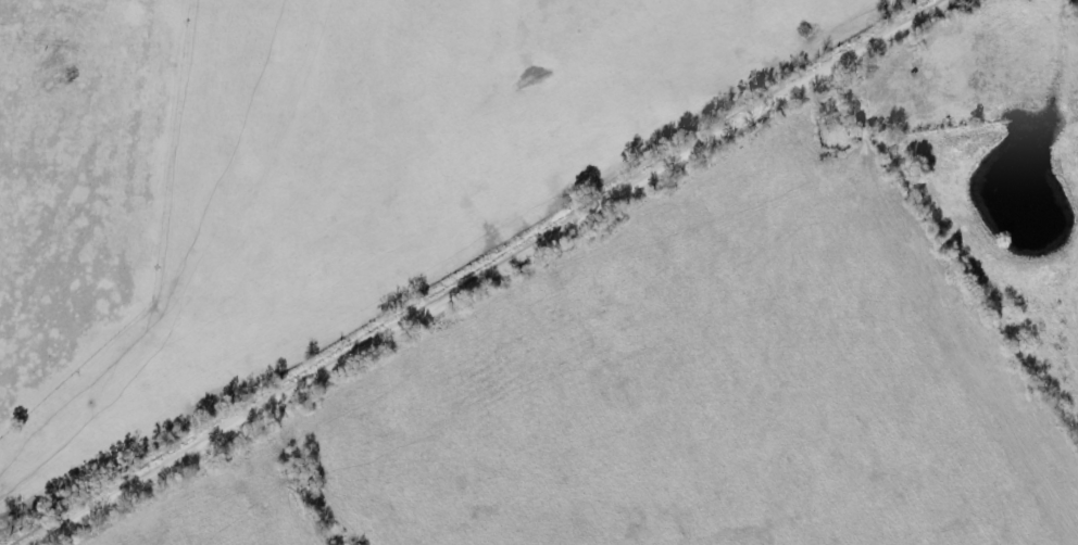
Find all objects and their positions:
road: (494, 270)

